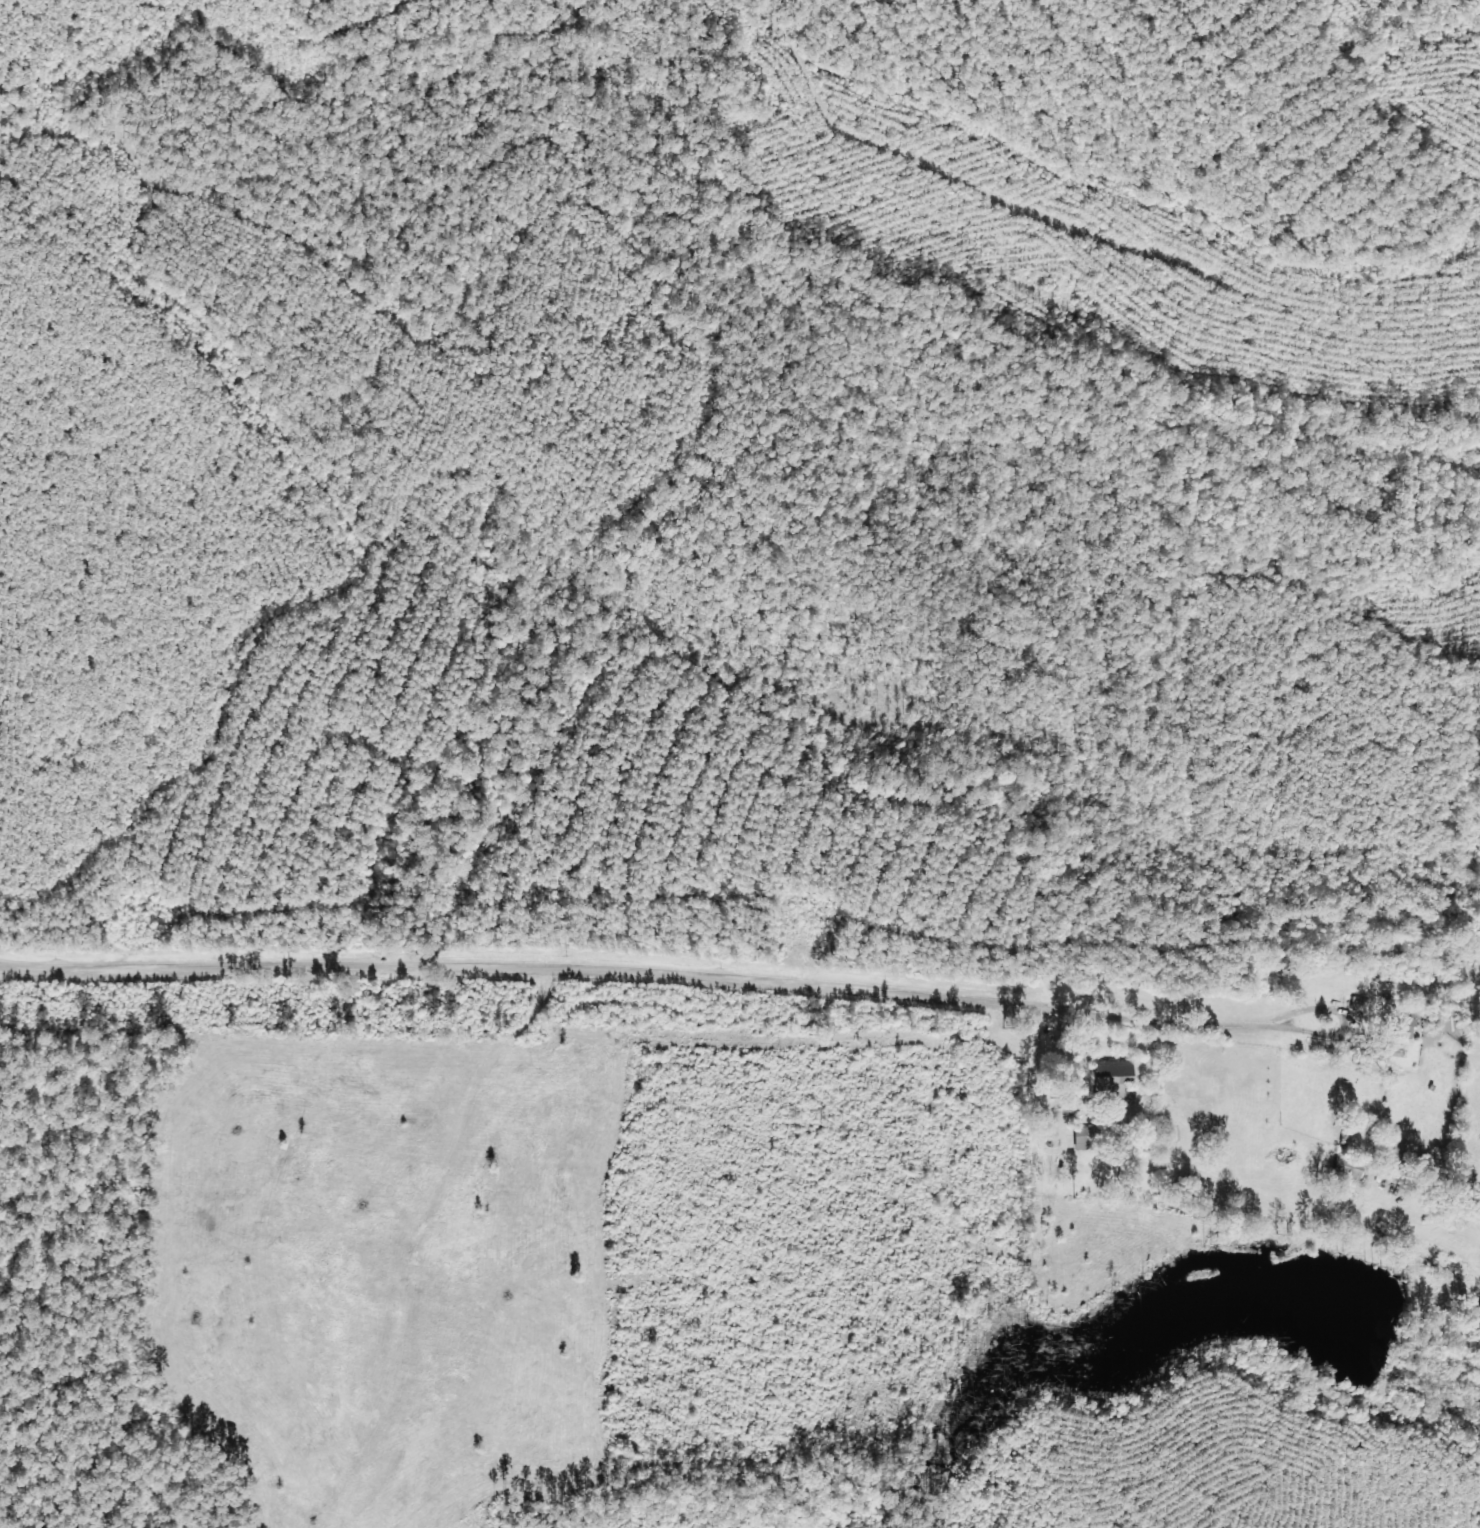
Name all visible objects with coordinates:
road: (1297, 334)
road: (629, 987)
building: (1404, 1040)
building: (1115, 1080)
building: (1084, 1138)

